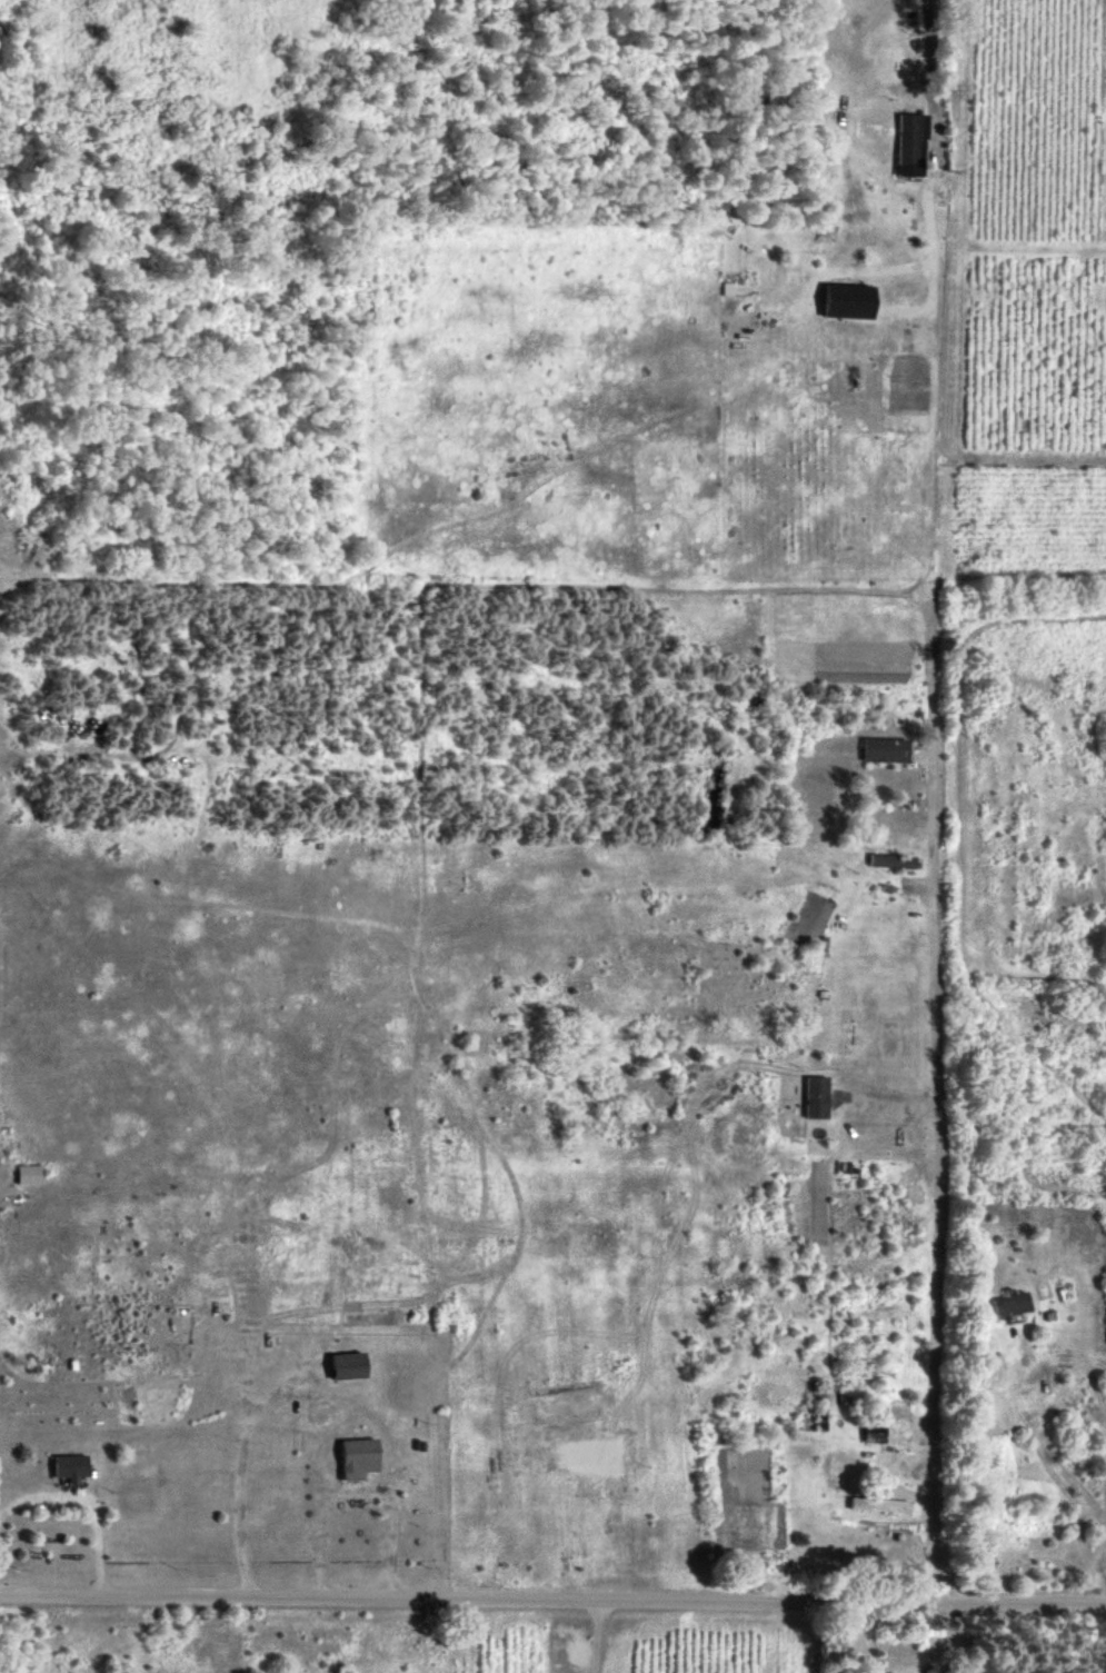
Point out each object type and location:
road: (933, 73)
building: (909, 143)
building: (726, 287)
building: (848, 300)
building: (885, 748)
building: (890, 859)
building: (887, 1074)
building: (815, 1095)
building: (28, 1173)
road: (943, 1175)
building: (1010, 1302)
building: (348, 1364)
building: (358, 1456)
building: (69, 1465)
road: (245, 1466)
building: (879, 1503)
road: (84, 1506)
road: (552, 1600)
road: (873, 1639)
road: (949, 1639)

